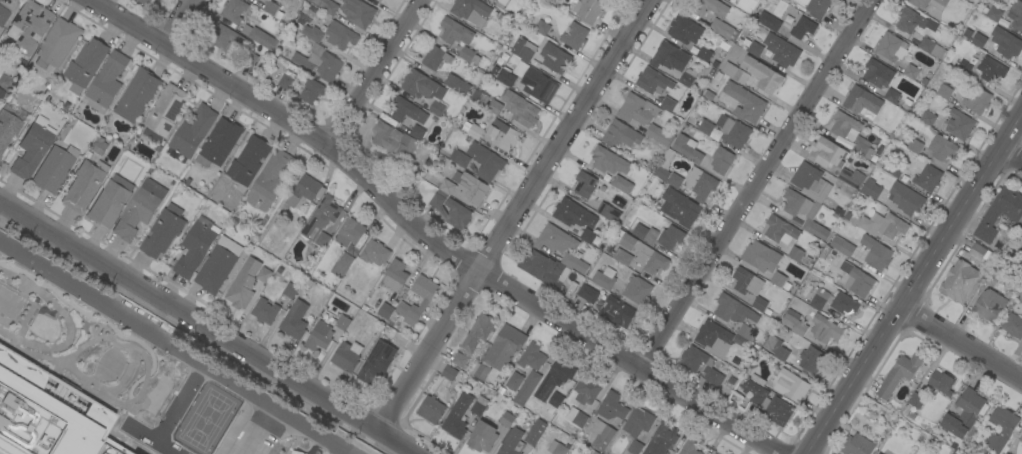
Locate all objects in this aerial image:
building: (495, 0)
building: (726, 0)
building: (727, 0)
building: (144, 2)
building: (502, 2)
building: (326, 5)
building: (920, 5)
building: (815, 6)
building: (709, 7)
building: (272, 9)
building: (234, 10)
building: (589, 10)
building: (471, 11)
building: (357, 12)
building: (993, 13)
building: (3, 15)
building: (1016, 15)
building: (769, 21)
building: (912, 21)
road: (177, 22)
building: (541, 22)
building: (28, 26)
building: (803, 27)
building: (684, 29)
building: (723, 29)
building: (452, 30)
building: (312, 33)
building: (340, 35)
building: (574, 35)
building: (262, 38)
building: (225, 39)
building: (978, 40)
building: (1005, 42)
building: (57, 43)
building: (756, 46)
building: (890, 47)
building: (931, 47)
building: (523, 48)
building: (703, 54)
building: (785, 54)
building: (468, 55)
building: (434, 56)
building: (669, 56)
building: (554, 58)
building: (249, 59)
building: (318, 62)
building: (84, 64)
building: (963, 67)
building: (990, 69)
building: (911, 71)
road: (373, 73)
building: (877, 73)
building: (673, 74)
building: (763, 74)
building: (740, 76)
building: (686, 79)
building: (285, 81)
building: (529, 81)
building: (652, 81)
building: (105, 82)
building: (457, 84)
building: (421, 85)
building: (311, 91)
building: (944, 91)
building: (1, 93)
building: (137, 95)
building: (891, 95)
building: (977, 100)
building: (741, 102)
building: (862, 102)
building: (667, 104)
building: (494, 107)
building: (436, 108)
building: (520, 108)
building: (636, 109)
building: (406, 110)
building: (164, 112)
building: (927, 117)
building: (959, 124)
building: (705, 127)
building: (7, 128)
building: (192, 131)
building: (475, 131)
building: (732, 131)
building: (417, 132)
building: (850, 132)
building: (620, 134)
building: (659, 134)
building: (503, 135)
building: (393, 140)
building: (218, 143)
building: (913, 144)
building: (32, 148)
building: (686, 148)
building: (941, 148)
building: (827, 153)
road: (1011, 154)
building: (0, 156)
building: (459, 158)
building: (248, 160)
building: (721, 160)
building: (485, 161)
building: (608, 161)
building: (664, 165)
building: (52, 169)
building: (894, 169)
building: (850, 177)
building: (927, 178)
building: (269, 180)
building: (674, 180)
building: (810, 181)
building: (699, 183)
building: (584, 184)
building: (621, 184)
building: (84, 185)
road: (755, 185)
building: (470, 187)
building: (870, 188)
building: (305, 190)
building: (905, 198)
building: (110, 201)
building: (449, 206)
building: (679, 207)
building: (139, 208)
building: (608, 212)
building: (804, 213)
building: (999, 213)
road: (511, 214)
building: (573, 214)
building: (320, 221)
building: (865, 224)
building: (890, 225)
building: (779, 229)
building: (1021, 230)
building: (161, 233)
building: (351, 233)
building: (645, 233)
building: (587, 235)
building: (670, 237)
road: (426, 238)
building: (555, 239)
building: (195, 246)
building: (842, 246)
building: (641, 252)
building: (875, 252)
building: (374, 253)
building: (794, 253)
building: (981, 253)
building: (621, 256)
building: (760, 256)
building: (574, 263)
building: (217, 265)
building: (341, 265)
building: (845, 267)
building: (540, 269)
building: (995, 273)
building: (263, 274)
building: (394, 276)
building: (604, 278)
building: (777, 279)
building: (746, 281)
building: (960, 281)
building: (858, 282)
building: (243, 284)
road: (912, 284)
building: (289, 290)
building: (637, 290)
building: (588, 294)
building: (818, 299)
building: (426, 300)
building: (1021, 301)
building: (843, 303)
building: (759, 304)
building: (988, 305)
building: (732, 309)
building: (264, 311)
building: (385, 311)
building: (616, 312)
building: (294, 320)
building: (342, 322)
building: (793, 322)
building: (1013, 325)
road: (207, 328)
building: (824, 329)
building: (746, 332)
building: (318, 336)
building: (712, 336)
building: (473, 338)
road: (960, 343)
road: (175, 346)
building: (777, 349)
building: (500, 351)
building: (346, 355)
building: (532, 357)
building: (692, 358)
building: (811, 358)
building: (376, 362)
building: (116, 365)
building: (448, 372)
building: (898, 374)
building: (713, 377)
building: (554, 378)
building: (514, 381)
building: (941, 382)
building: (790, 385)
building: (526, 388)
building: (586, 389)
building: (555, 399)
building: (766, 400)
building: (916, 400)
building: (479, 405)
building: (611, 406)
building: (88, 407)
building: (430, 409)
building: (881, 411)
building: (964, 413)
building: (457, 416)
building: (576, 417)
building: (506, 419)
building: (637, 426)
building: (1006, 430)
building: (535, 432)
building: (601, 434)
building: (482, 437)
building: (1020, 437)
building: (660, 440)
building: (510, 442)
building: (857, 445)
building: (953, 445)
building: (689, 447)
building: (556, 448)
building: (579, 453)
building: (581, 453)
building: (712, 453)
building: (714, 453)
building: (877, 453)
building: (879, 453)
building: (1005, 453)
building: (1021, 453)

